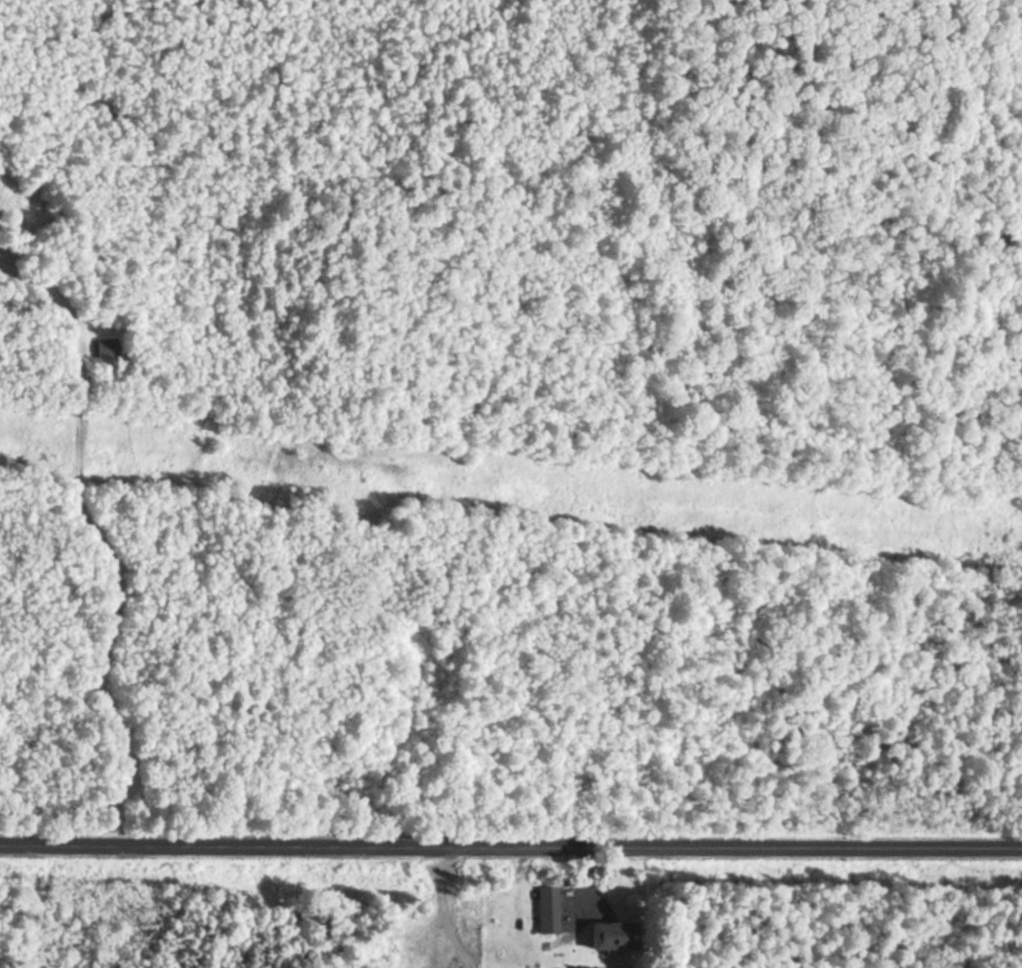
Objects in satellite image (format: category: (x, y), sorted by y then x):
building: (103, 349)
road: (511, 851)
building: (545, 912)
building: (606, 937)

